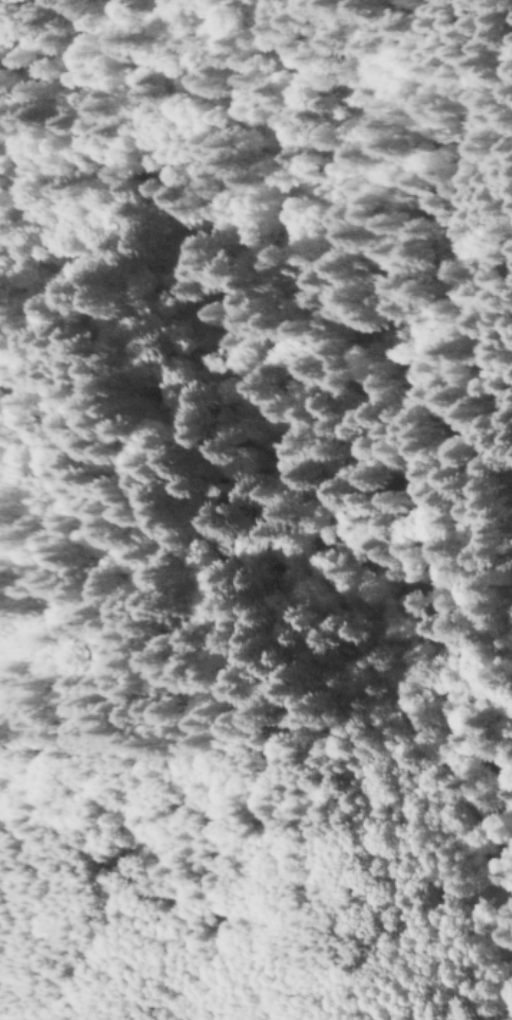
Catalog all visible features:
road: (498, 19)

